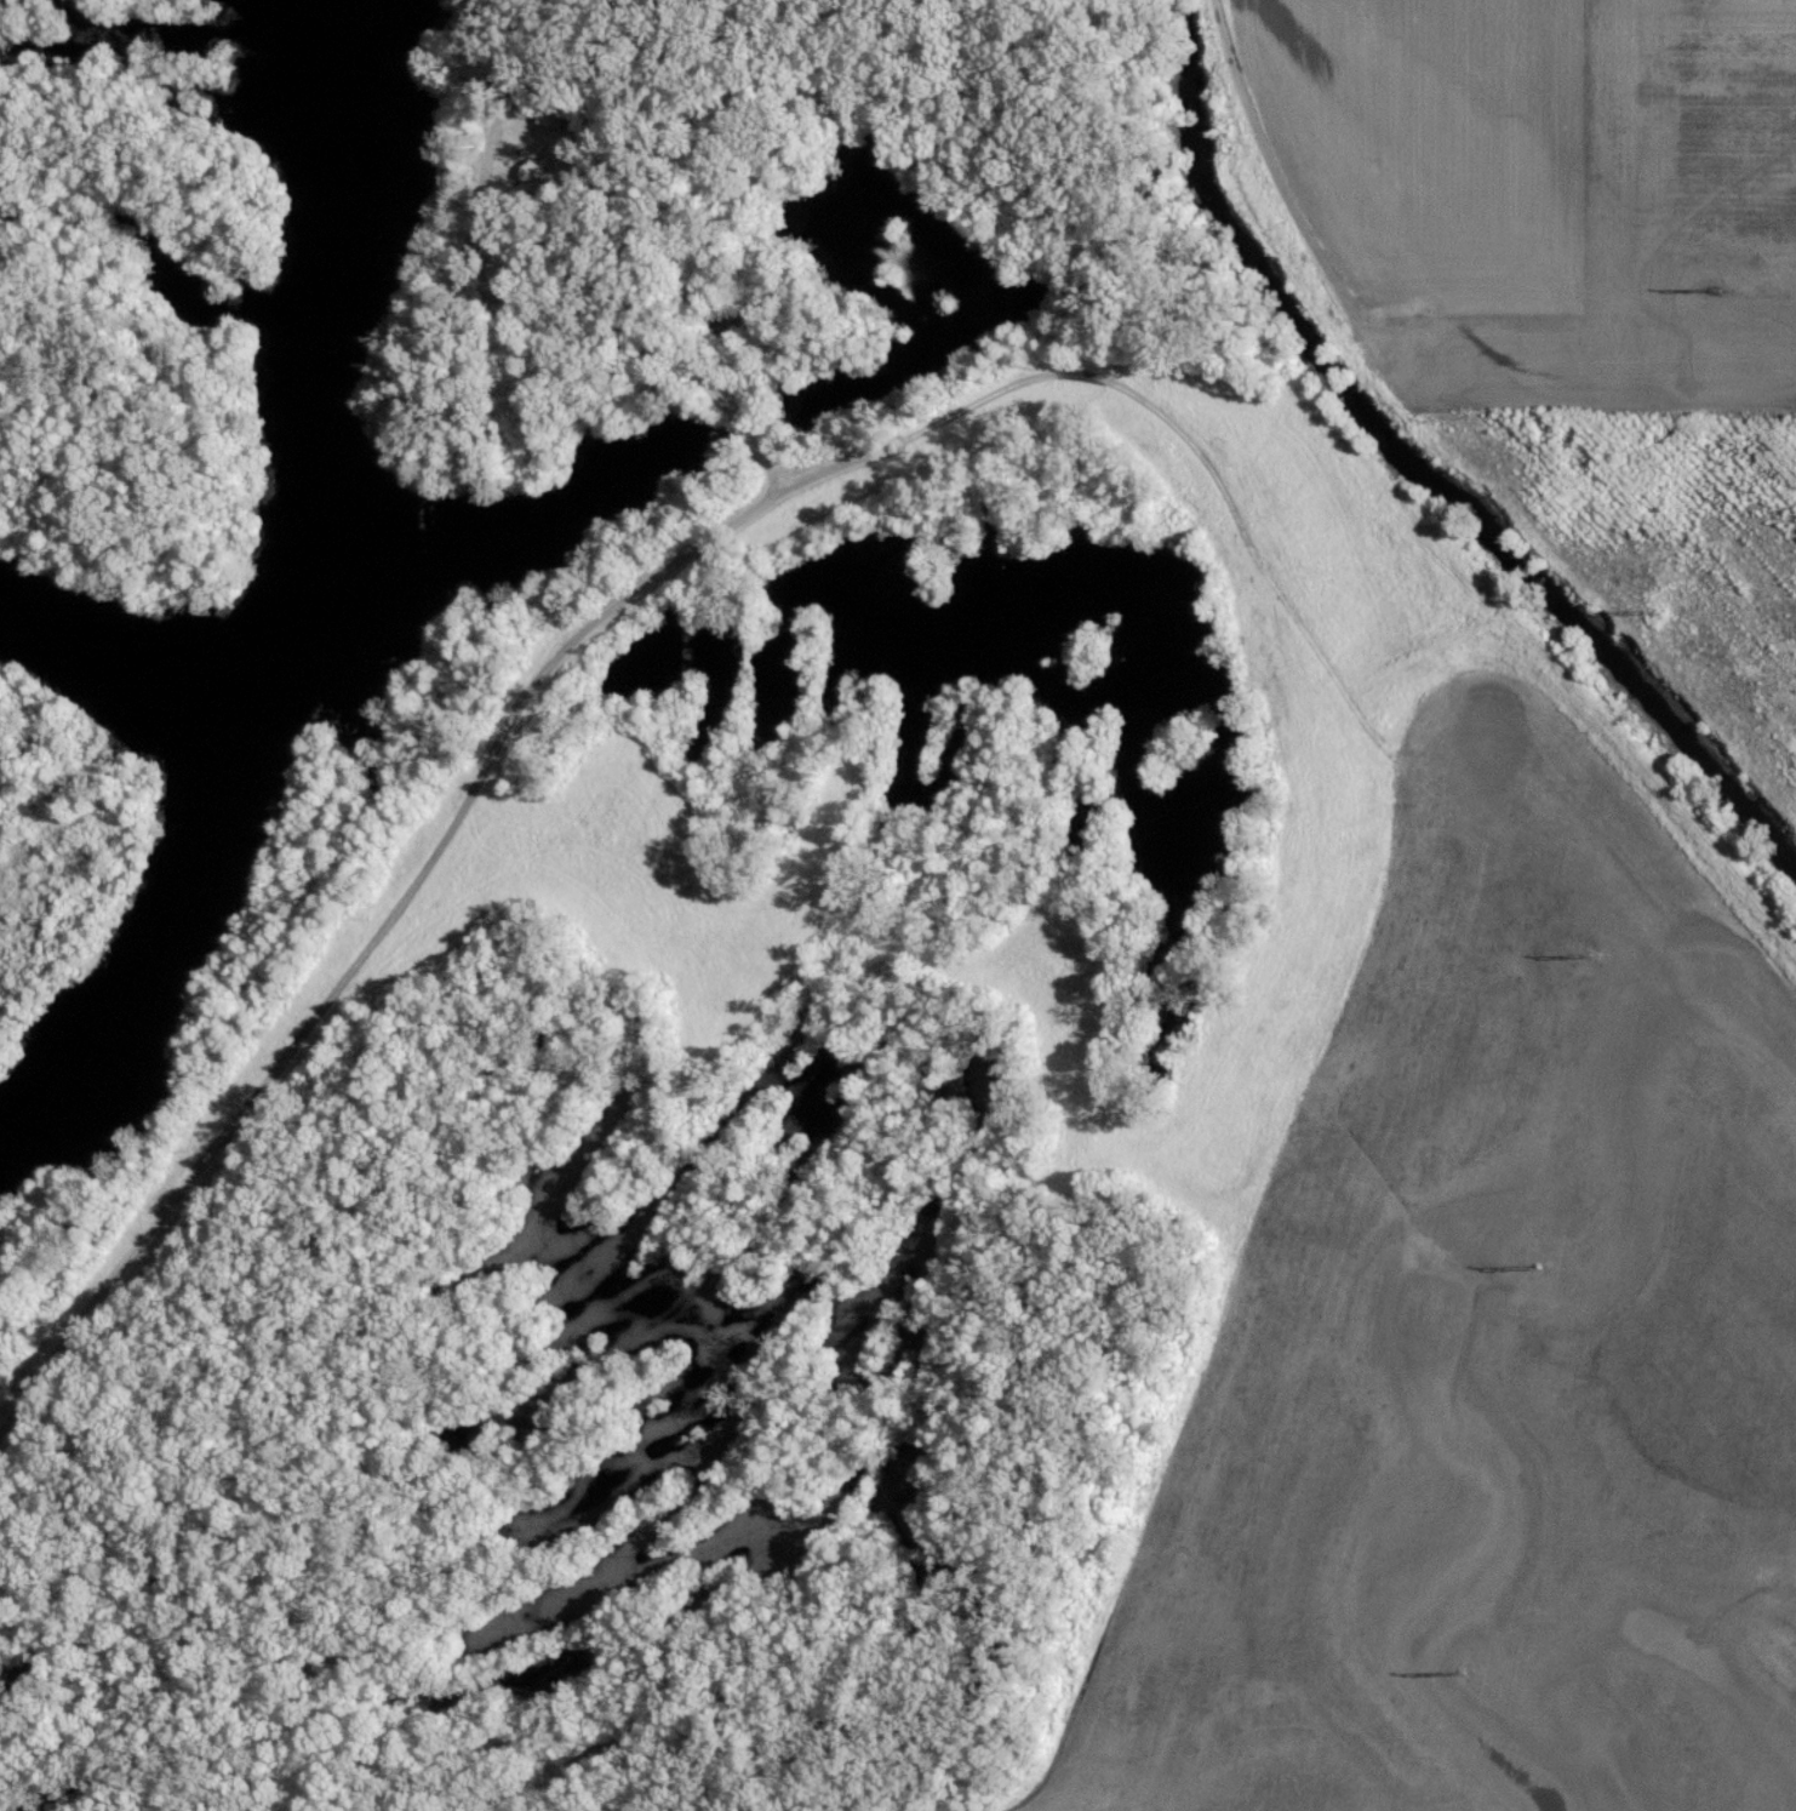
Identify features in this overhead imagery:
building: (572, 119)
road: (1266, 159)
building: (559, 184)
road: (520, 313)
road: (502, 759)

